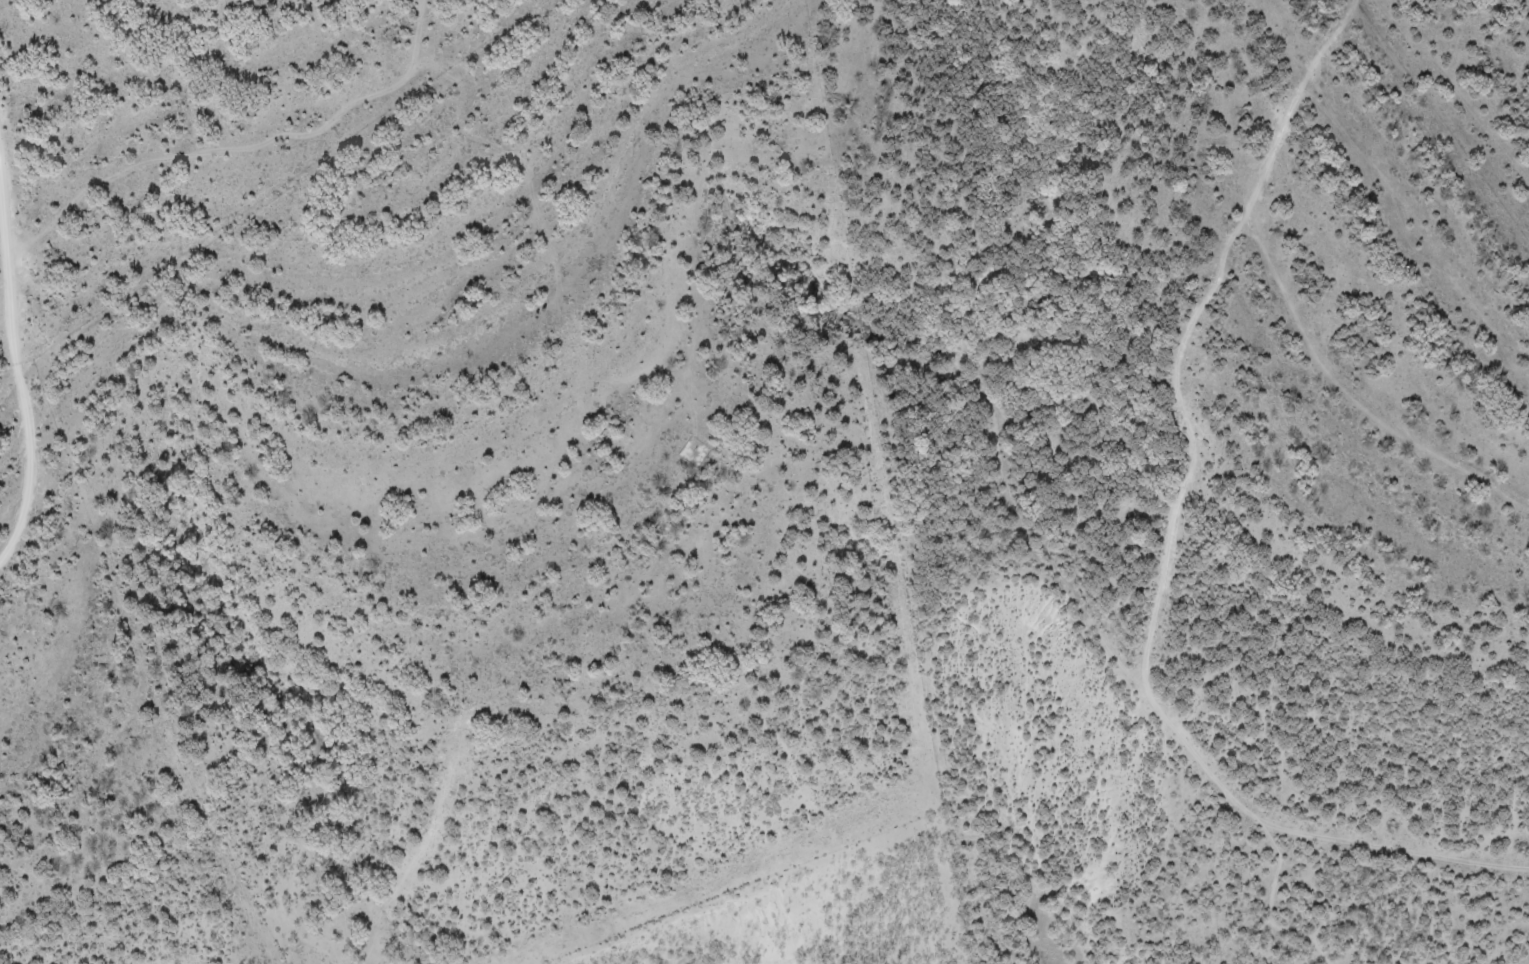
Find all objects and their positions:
road: (21, 215)

